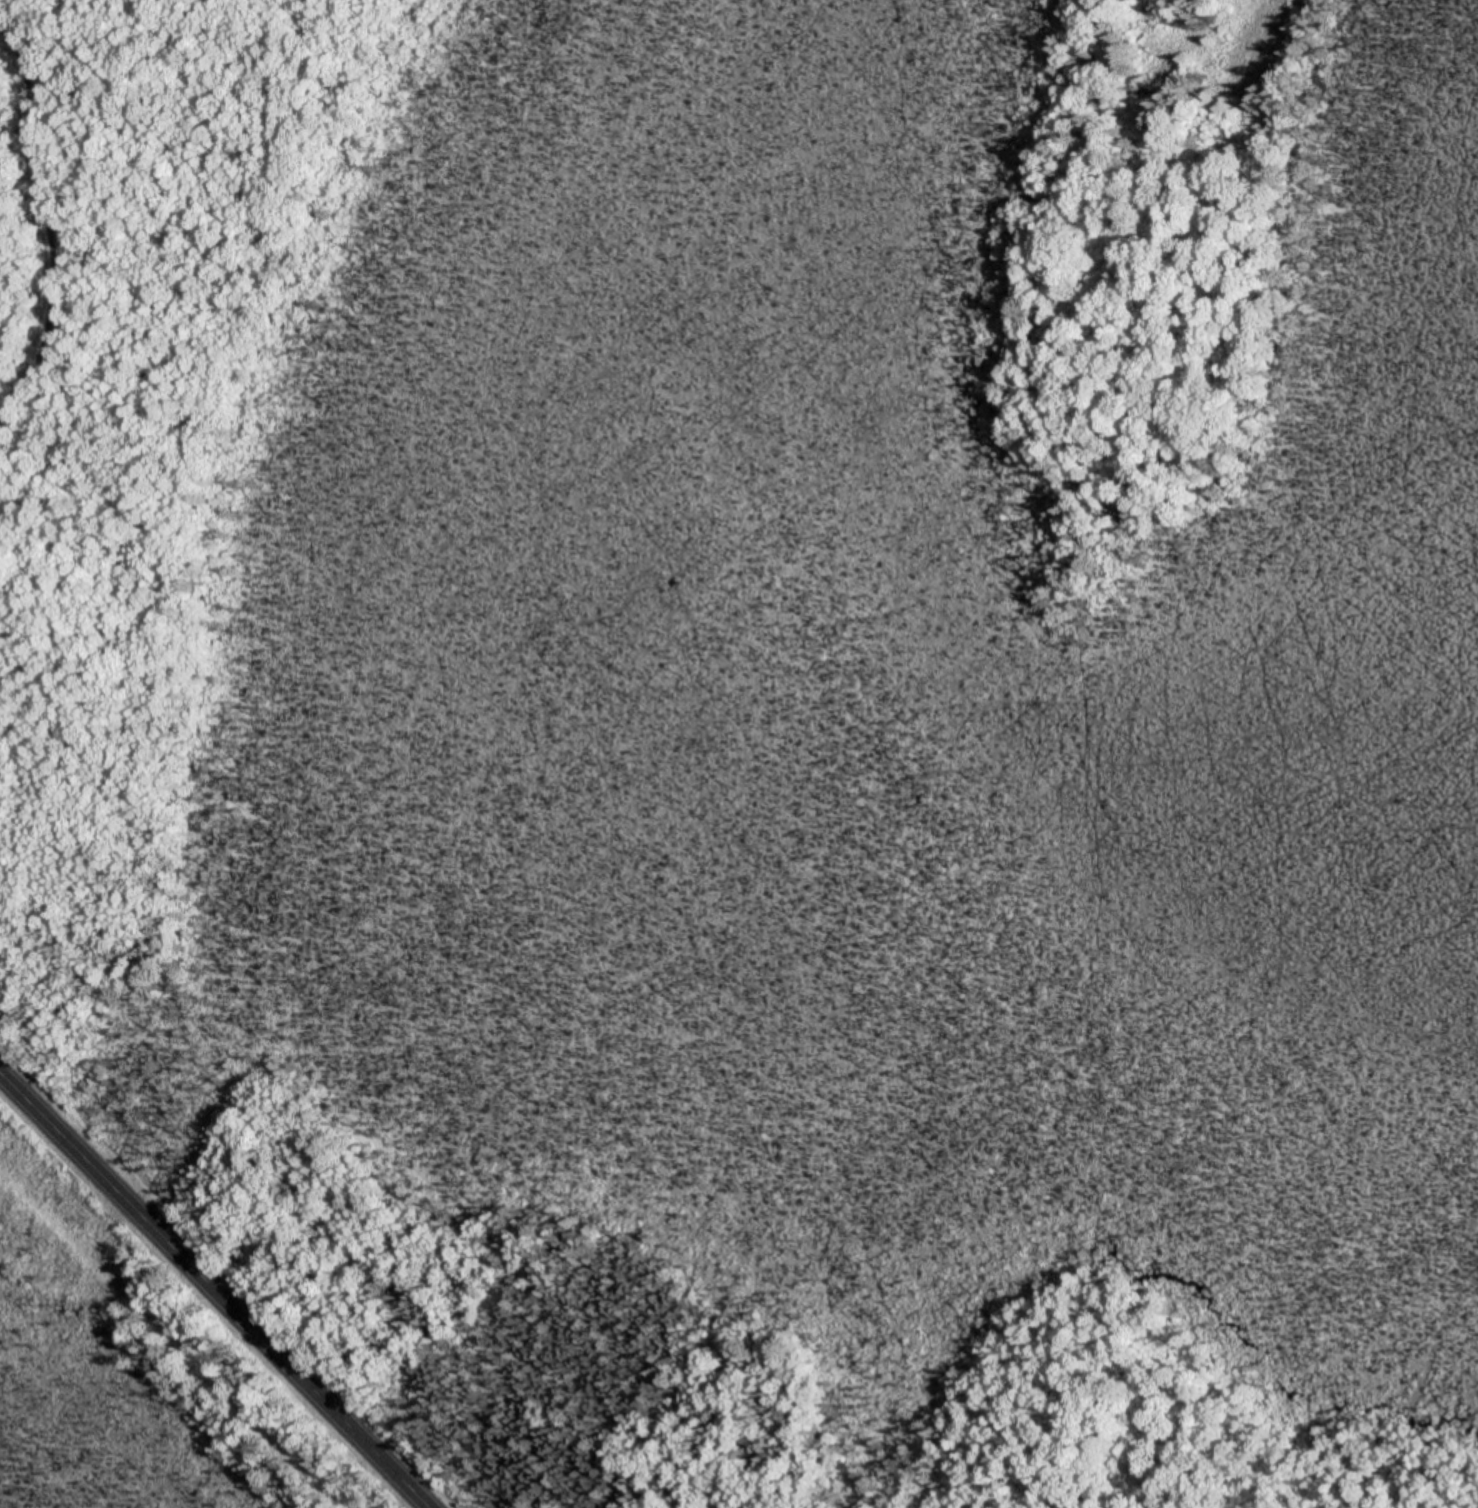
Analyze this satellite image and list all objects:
road: (216, 1289)

